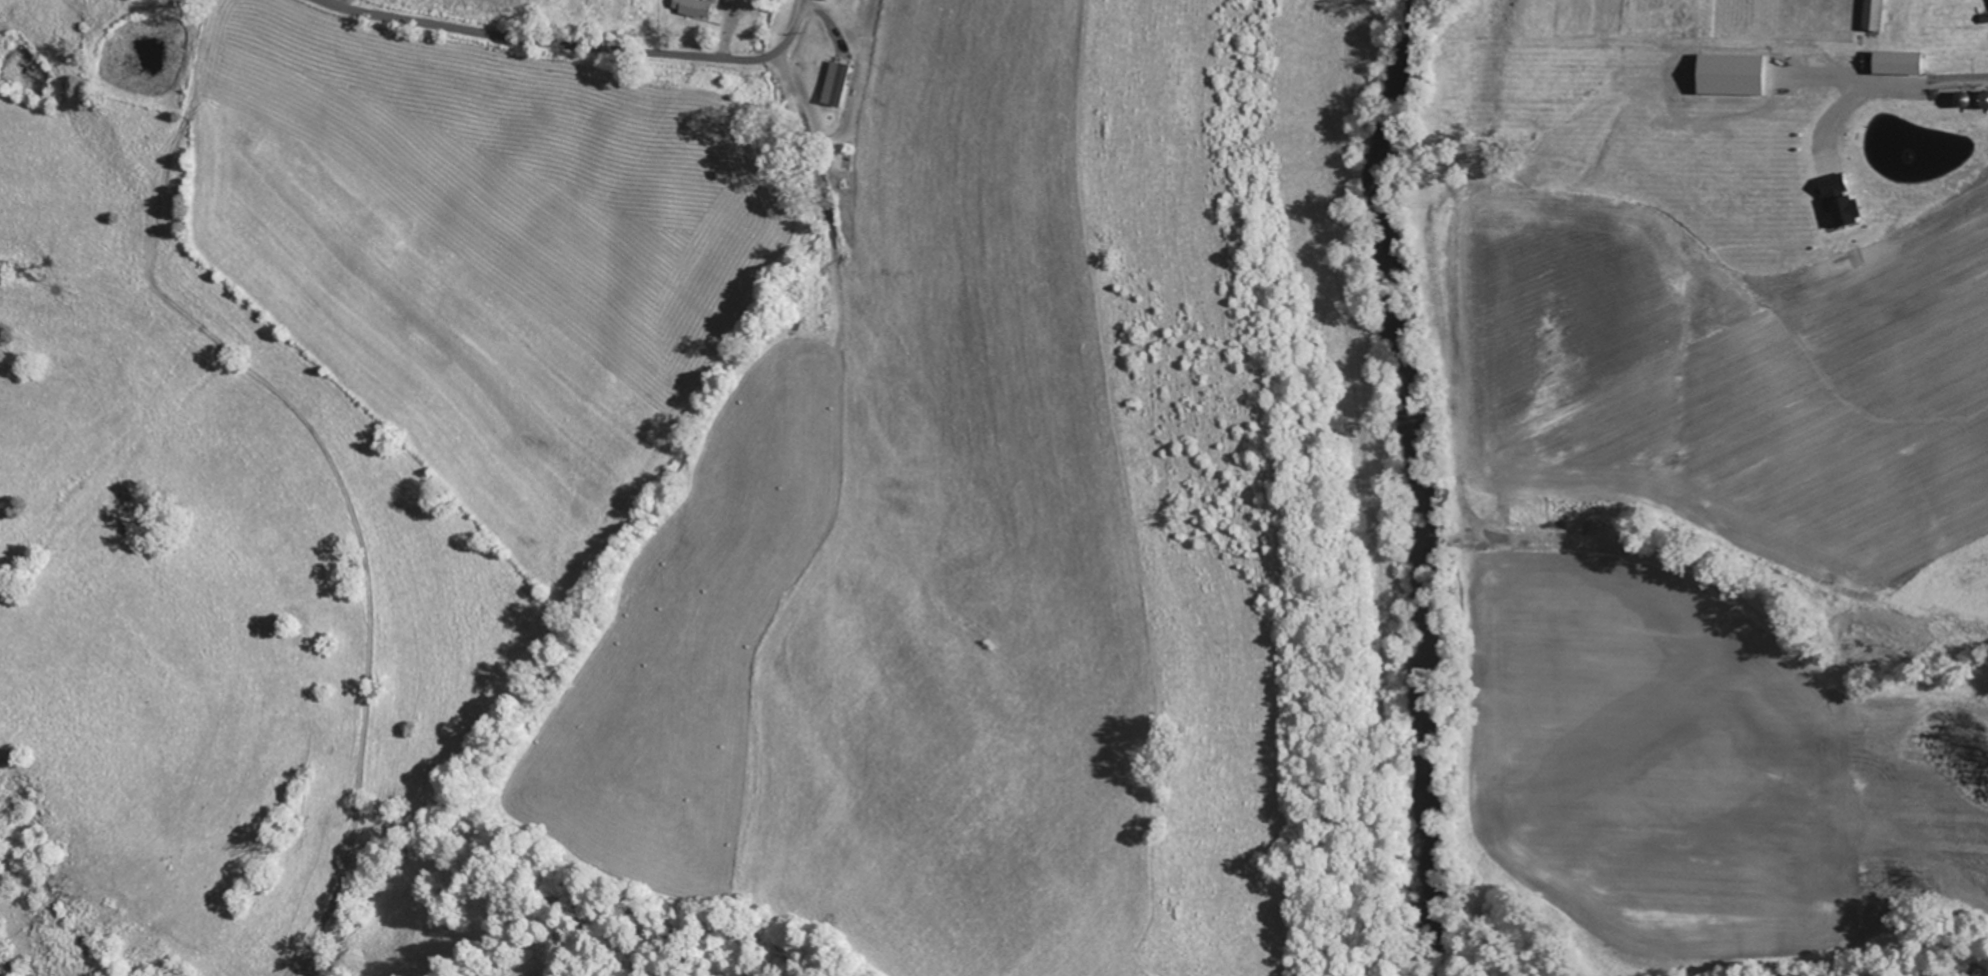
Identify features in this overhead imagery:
building: (737, 2)
building: (695, 7)
building: (1873, 15)
road: (797, 22)
road: (556, 43)
building: (1893, 61)
building: (830, 71)
road: (1880, 103)
building: (1945, 105)
building: (1870, 238)
building: (1839, 262)

